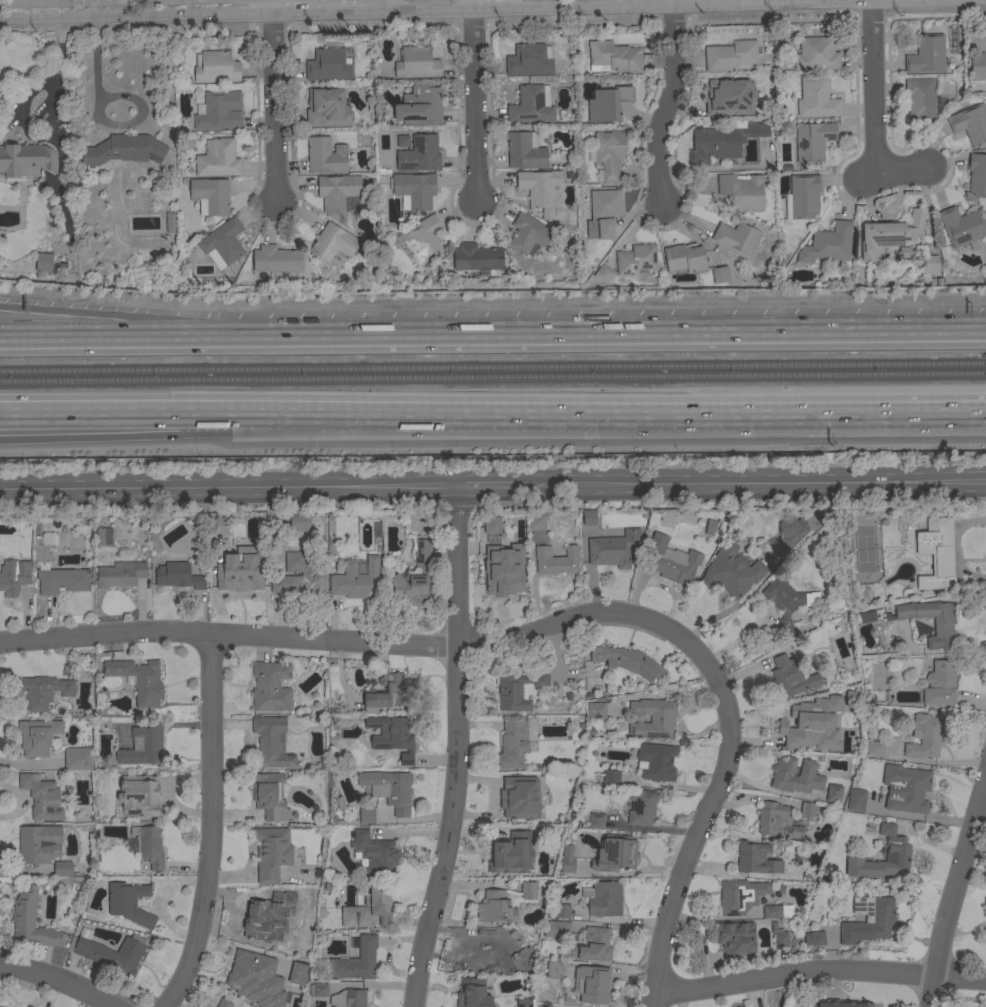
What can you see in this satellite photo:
road: (56, 1)
road: (377, 8)
road: (681, 8)
road: (355, 16)
road: (166, 19)
building: (815, 54)
building: (926, 55)
building: (731, 56)
building: (614, 57)
building: (529, 60)
building: (416, 63)
building: (328, 65)
building: (978, 66)
building: (215, 67)
road: (871, 87)
building: (727, 98)
building: (816, 99)
building: (920, 100)
road: (272, 101)
road: (475, 101)
road: (672, 101)
building: (608, 103)
building: (532, 105)
building: (420, 106)
building: (327, 108)
building: (220, 111)
building: (970, 124)
building: (813, 140)
building: (403, 141)
building: (723, 141)
building: (124, 150)
building: (525, 151)
building: (609, 154)
building: (325, 155)
building: (419, 155)
building: (218, 159)
building: (26, 160)
road: (906, 171)
building: (977, 175)
road: (869, 179)
building: (414, 189)
building: (539, 190)
building: (742, 192)
building: (211, 195)
building: (339, 195)
building: (803, 196)
building: (606, 204)
building: (170, 223)
building: (962, 227)
building: (601, 229)
building: (530, 235)
building: (889, 235)
building: (2, 237)
building: (421, 239)
building: (736, 239)
building: (333, 243)
building: (222, 244)
building: (828, 244)
building: (476, 258)
building: (684, 258)
building: (276, 259)
building: (635, 259)
building: (51, 260)
building: (39, 263)
building: (931, 263)
building: (602, 274)
building: (720, 275)
road: (89, 326)
road: (582, 334)
road: (89, 337)
railway: (492, 367)
railway: (493, 377)
road: (748, 407)
road: (255, 409)
road: (255, 422)
road: (750, 485)
road: (486, 488)
road: (229, 489)
building: (589, 518)
building: (537, 522)
building: (299, 523)
building: (220, 525)
building: (489, 527)
building: (709, 527)
building: (791, 531)
building: (103, 537)
building: (613, 549)
building: (40, 551)
building: (937, 553)
building: (556, 560)
building: (671, 561)
building: (517, 572)
building: (731, 572)
building: (120, 575)
building: (242, 575)
building: (13, 576)
building: (178, 576)
building: (298, 576)
building: (413, 576)
building: (357, 579)
building: (62, 581)
building: (865, 594)
building: (785, 603)
building: (875, 615)
building: (865, 618)
building: (943, 627)
road: (541, 628)
building: (627, 661)
building: (790, 676)
building: (139, 680)
building: (940, 684)
building: (270, 687)
building: (519, 689)
building: (43, 691)
building: (387, 693)
building: (596, 710)
building: (652, 719)
building: (796, 719)
building: (37, 736)
building: (392, 736)
building: (924, 737)
building: (271, 742)
building: (829, 742)
building: (513, 744)
building: (142, 746)
building: (874, 748)
road: (457, 750)
building: (78, 759)
building: (656, 762)
building: (782, 774)
building: (611, 776)
building: (905, 788)
building: (389, 789)
building: (833, 793)
building: (137, 796)
building: (270, 796)
building: (41, 797)
building: (520, 798)
road: (752, 799)
building: (856, 800)
building: (640, 806)
building: (808, 809)
building: (366, 815)
building: (596, 821)
building: (777, 821)
road: (212, 824)
building: (37, 843)
building: (149, 845)
building: (606, 851)
building: (898, 851)
building: (267, 853)
building: (374, 853)
building: (509, 855)
building: (756, 859)
building: (564, 860)
building: (62, 869)
building: (529, 890)
road: (954, 892)
building: (740, 896)
building: (604, 899)
building: (303, 900)
building: (129, 903)
building: (368, 907)
building: (494, 908)
building: (562, 911)
building: (778, 911)
building: (31, 920)
building: (258, 920)
building: (869, 920)
building: (556, 929)
building: (779, 936)
building: (528, 937)
building: (735, 937)
building: (814, 938)
building: (593, 945)
building: (487, 952)
building: (111, 954)
building: (355, 962)
building: (554, 969)
building: (297, 972)
road: (817, 973)
building: (248, 974)
road: (52, 982)
building: (592, 984)
building: (318, 990)
building: (473, 993)
building: (348, 998)
building: (224, 1002)
building: (521, 1003)
building: (842, 1003)
building: (555, 1005)

